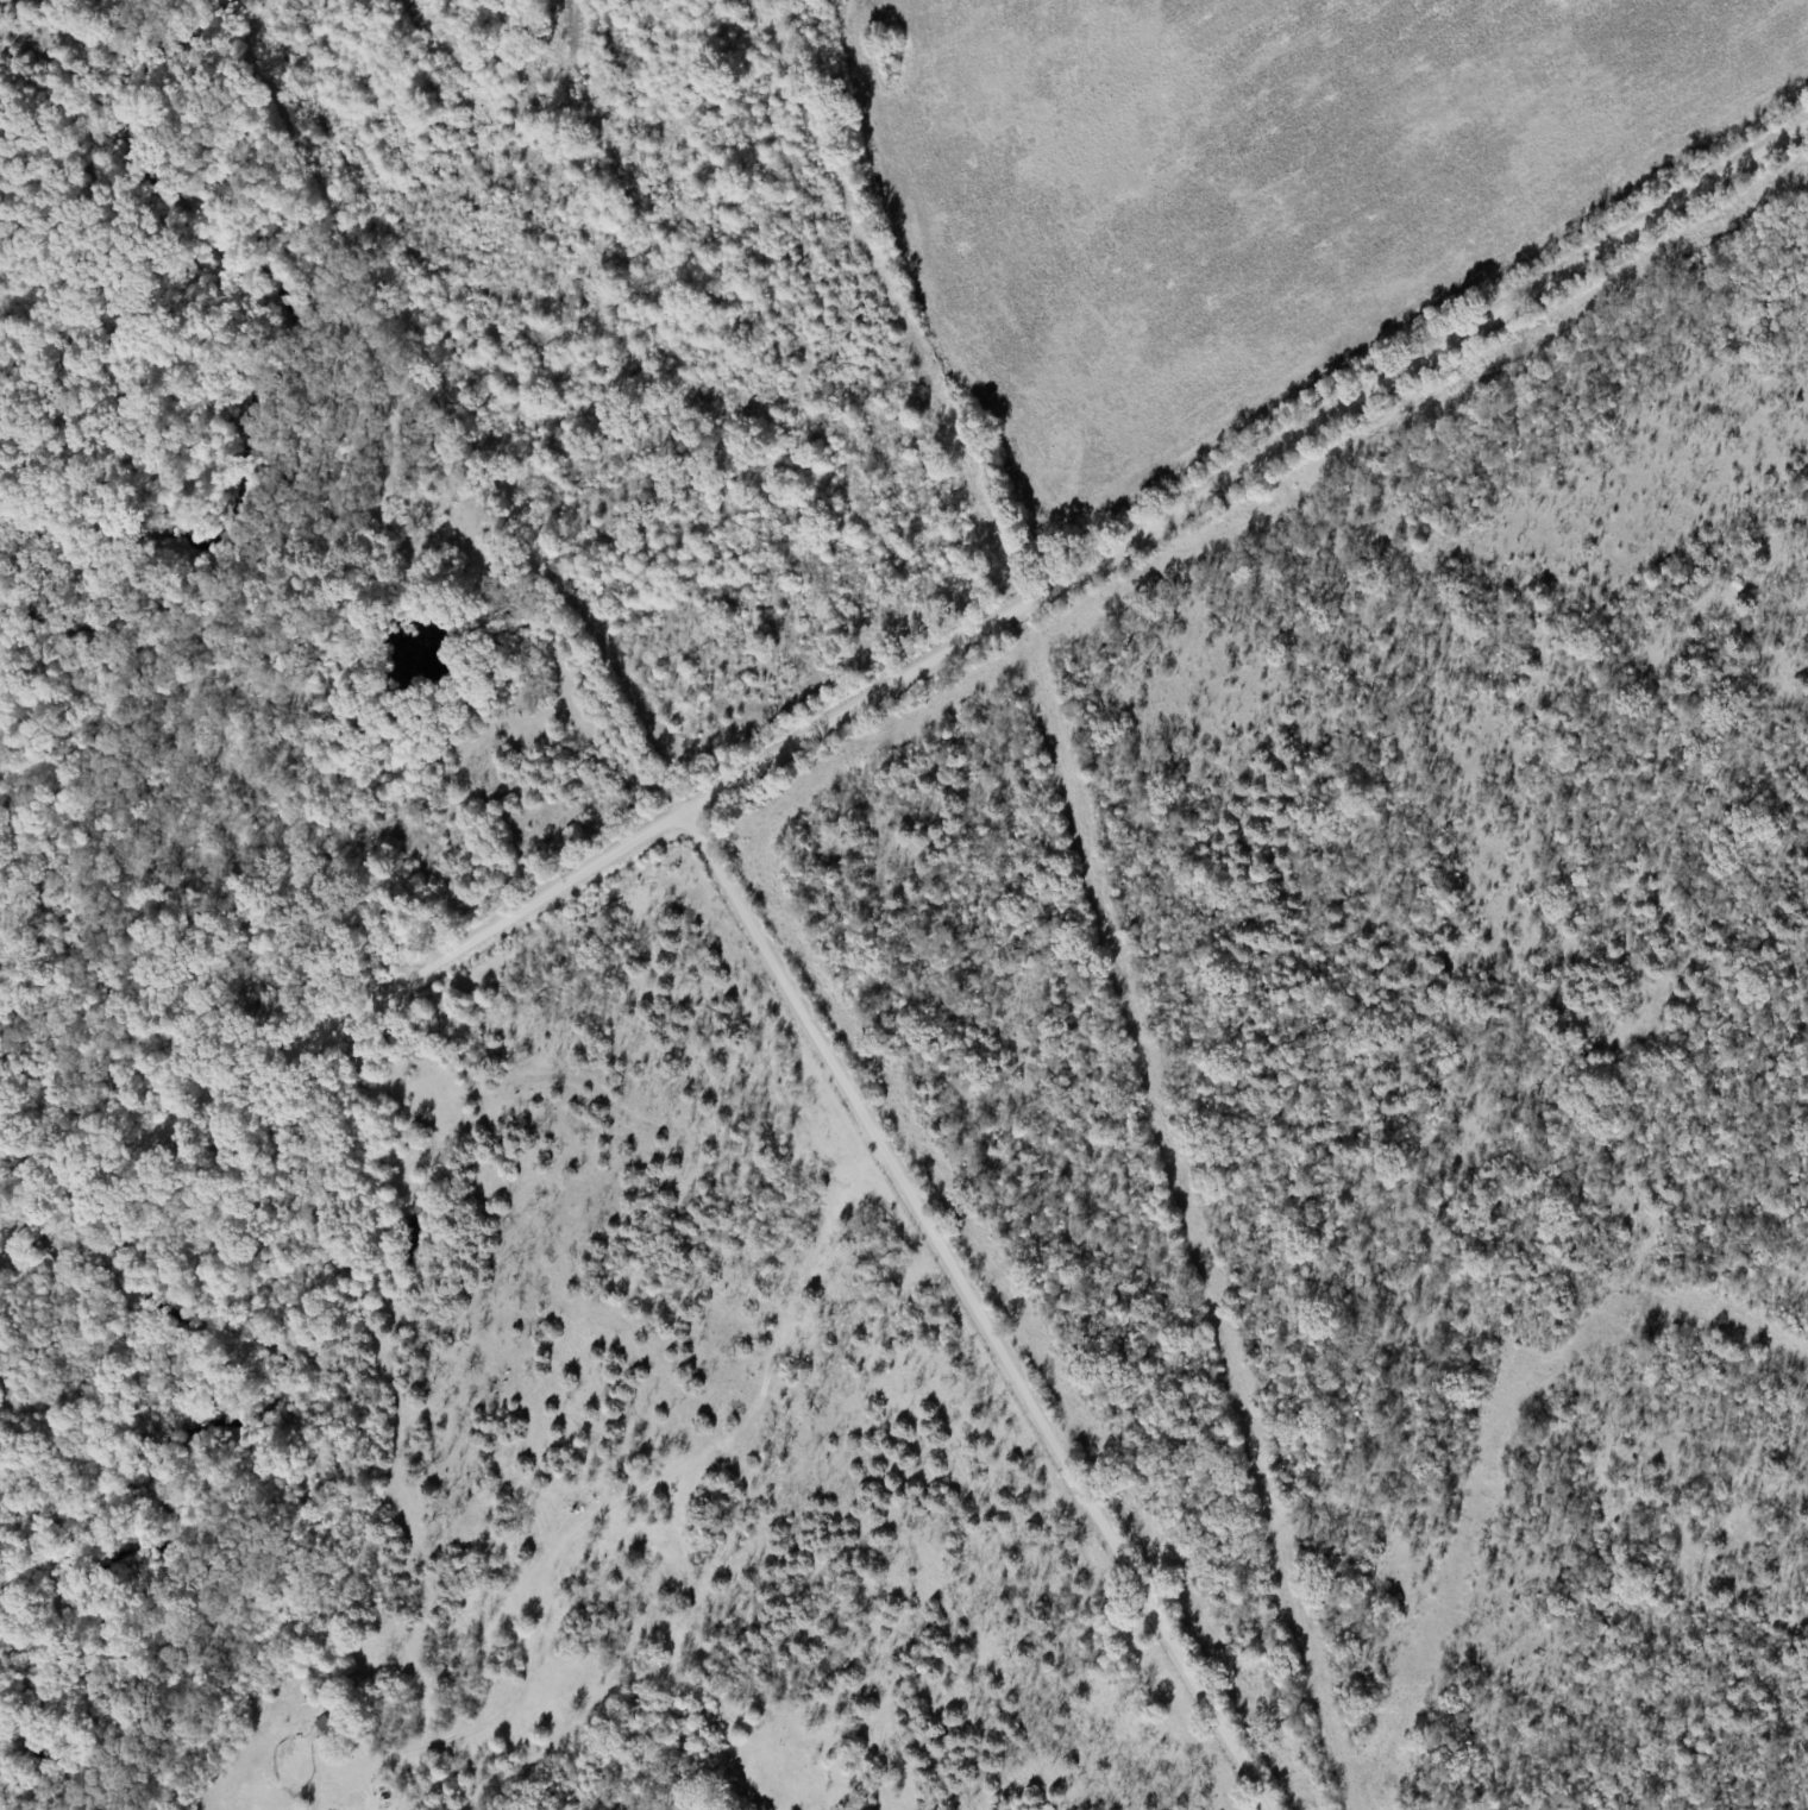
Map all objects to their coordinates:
road: (898, 689)
road: (988, 1309)
building: (328, 1727)

